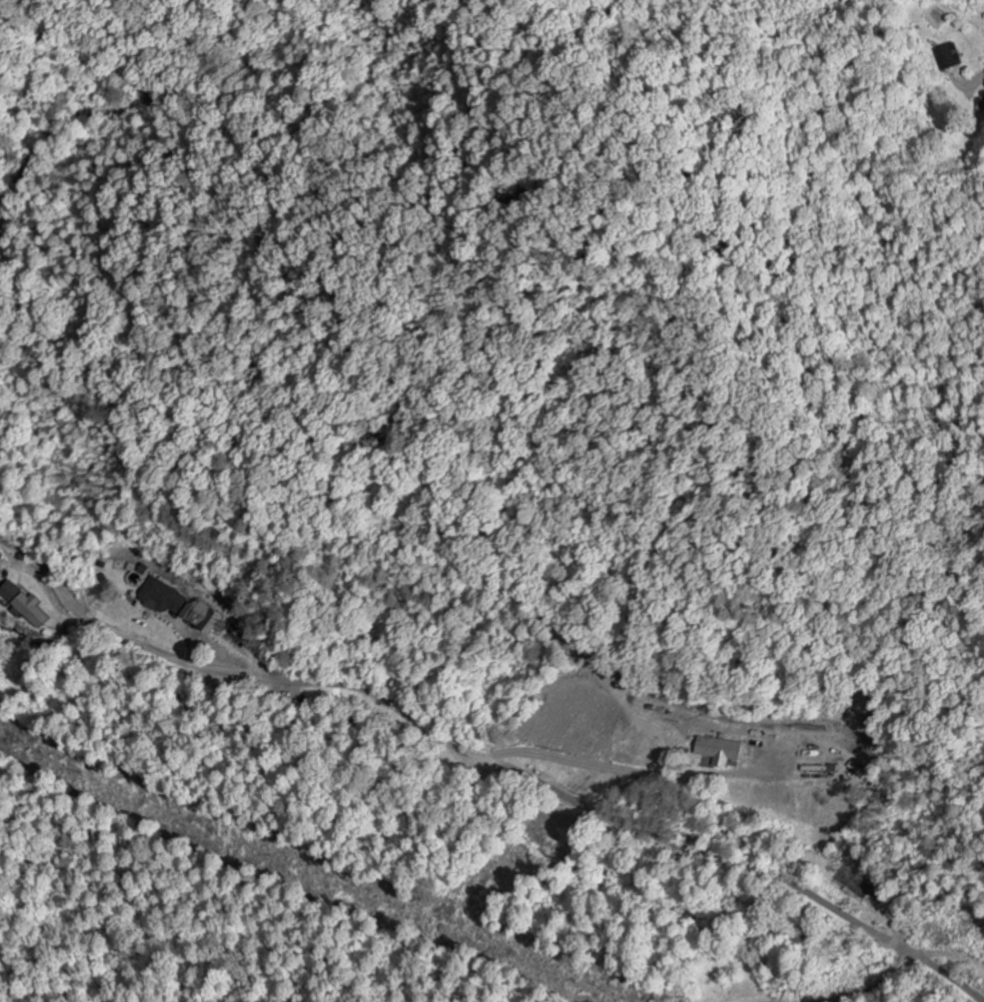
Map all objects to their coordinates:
building: (950, 57)
road: (982, 76)
building: (27, 605)
building: (182, 606)
building: (723, 752)
road: (487, 759)
building: (853, 885)

